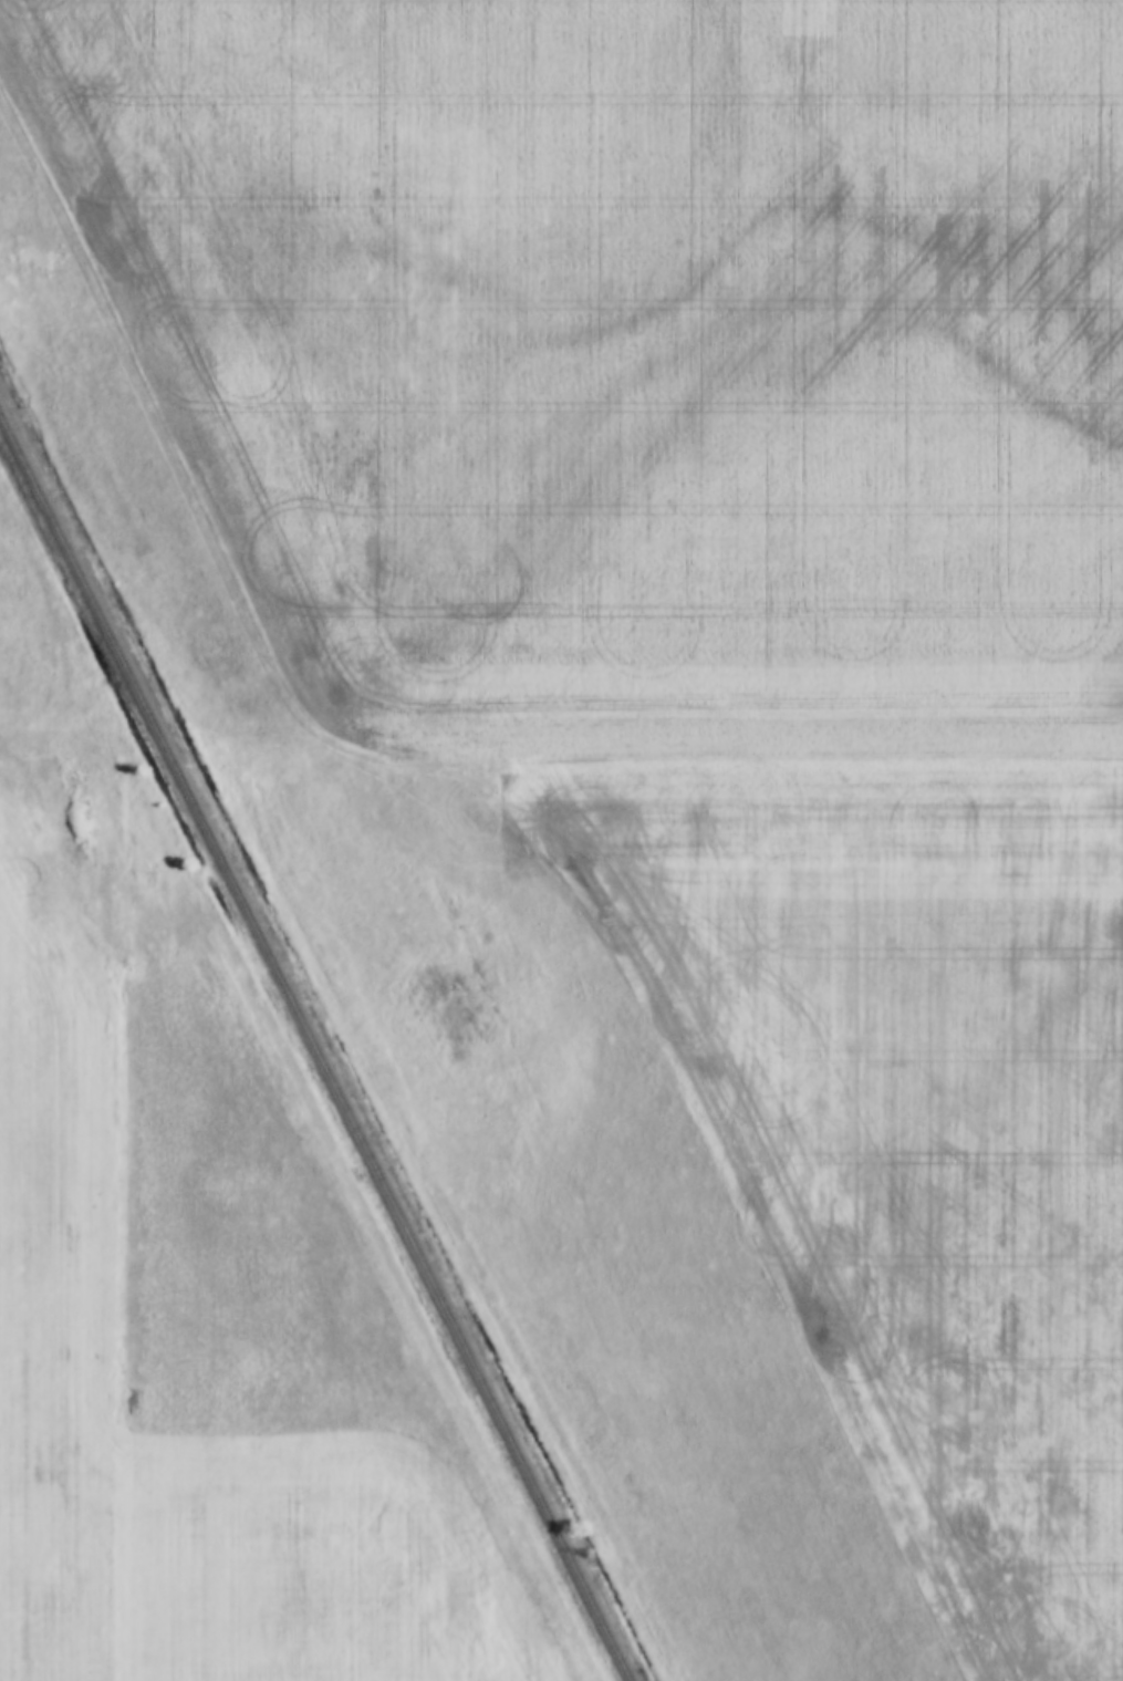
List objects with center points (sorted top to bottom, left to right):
railway: (313, 1050)

